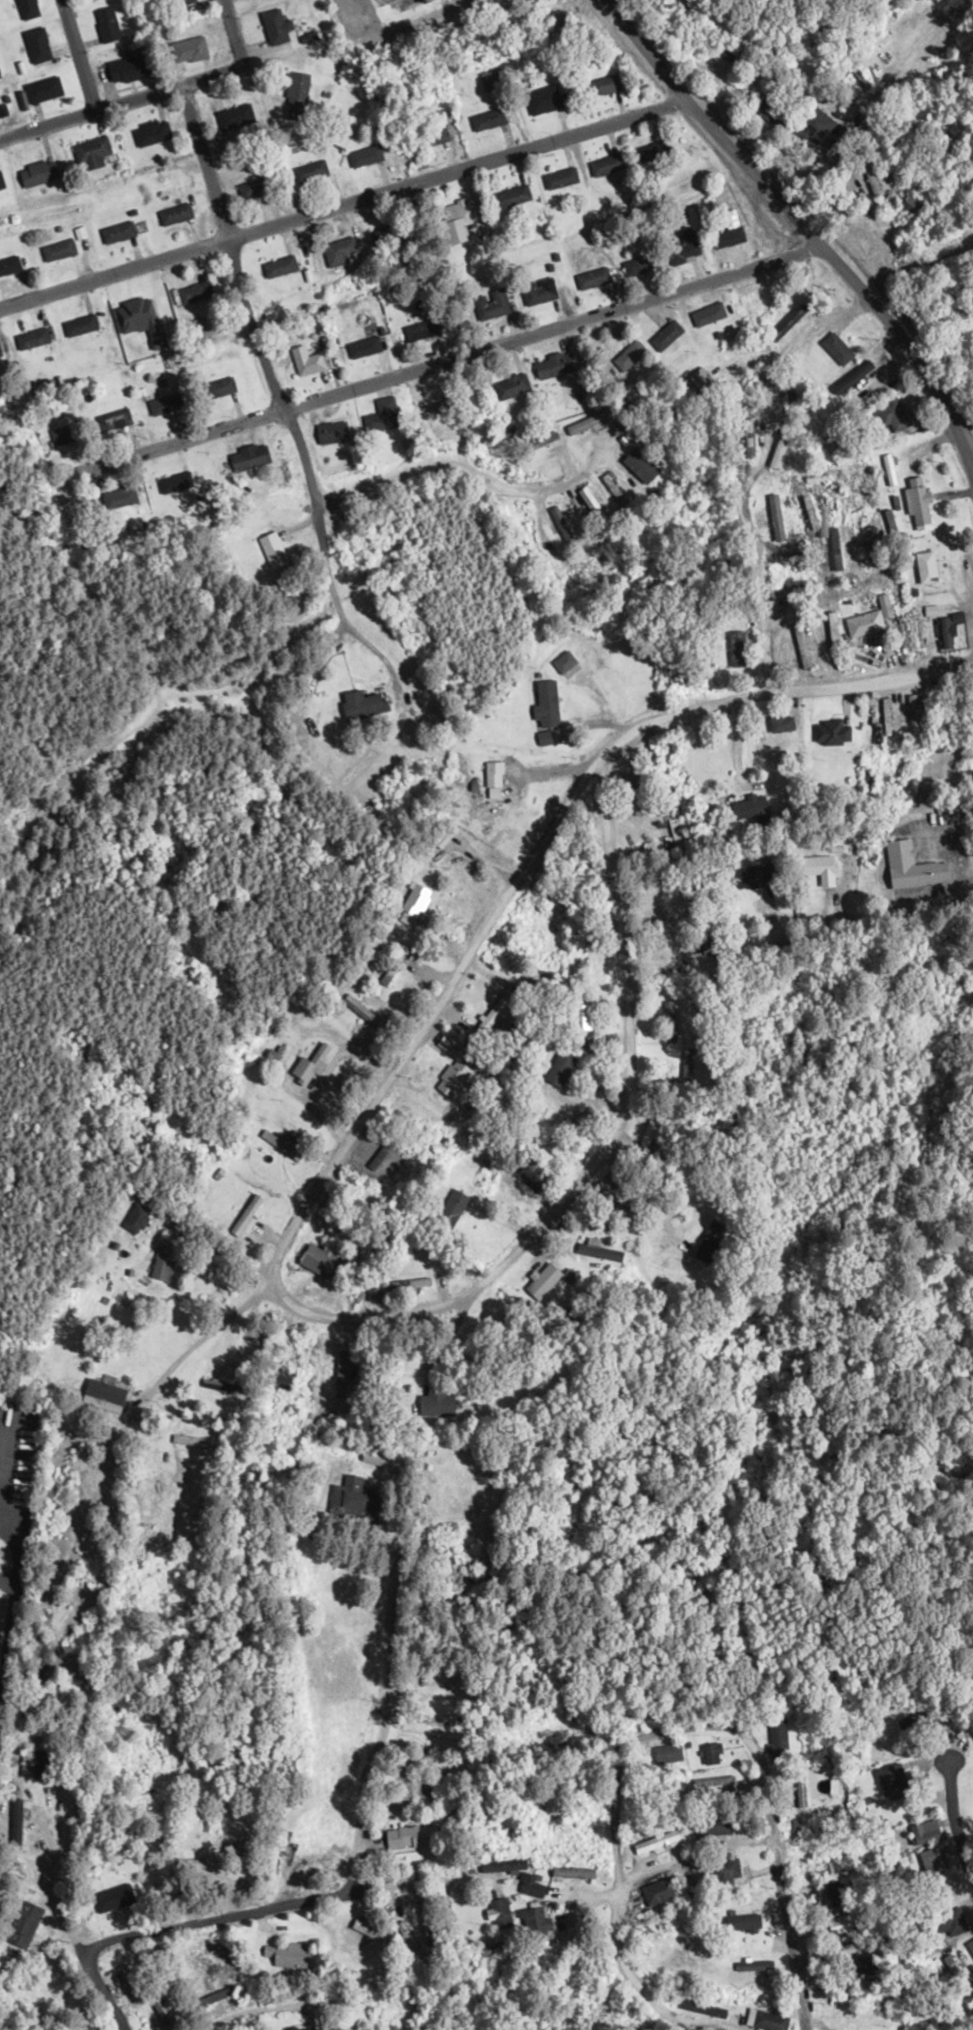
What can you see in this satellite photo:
building: (89, 0)
building: (418, 1)
building: (183, 2)
building: (26, 8)
building: (108, 24)
building: (274, 26)
road: (235, 32)
building: (36, 45)
building: (188, 50)
road: (77, 55)
building: (128, 66)
building: (602, 85)
building: (42, 90)
building: (295, 90)
road: (122, 101)
building: (542, 102)
building: (770, 112)
building: (233, 117)
building: (815, 118)
building: (488, 120)
building: (151, 133)
building: (430, 137)
building: (94, 152)
building: (653, 152)
building: (363, 156)
building: (606, 165)
building: (309, 172)
building: (869, 172)
building: (37, 173)
building: (561, 178)
building: (1, 182)
building: (252, 189)
building: (512, 196)
road: (342, 201)
building: (908, 202)
building: (172, 213)
building: (456, 219)
road: (808, 229)
building: (115, 231)
building: (386, 235)
building: (726, 237)
road: (230, 245)
building: (683, 246)
building: (55, 249)
building: (336, 251)
building: (8, 264)
building: (638, 265)
building: (278, 266)
building: (593, 278)
building: (541, 290)
building: (193, 292)
building: (490, 305)
building: (129, 311)
building: (705, 314)
building: (787, 322)
building: (77, 325)
building: (417, 330)
building: (665, 335)
building: (32, 338)
building: (361, 347)
building: (635, 347)
building: (837, 348)
building: (307, 364)
building: (553, 365)
road: (412, 369)
building: (853, 378)
building: (754, 384)
building: (509, 386)
building: (217, 387)
building: (161, 405)
building: (891, 415)
building: (111, 420)
building: (378, 421)
building: (450, 421)
building: (586, 423)
building: (330, 432)
building: (537, 442)
road: (970, 451)
building: (247, 457)
building: (776, 459)
building: (891, 469)
building: (172, 483)
building: (610, 489)
building: (115, 498)
building: (919, 502)
building: (595, 504)
building: (778, 522)
building: (560, 524)
building: (836, 548)
building: (270, 549)
building: (925, 567)
building: (886, 604)
building: (865, 624)
building: (948, 630)
road: (833, 643)
building: (735, 648)
building: (800, 649)
building: (563, 661)
building: (360, 692)
road: (780, 693)
building: (545, 703)
building: (778, 723)
building: (829, 731)
building: (490, 778)
building: (633, 798)
building: (744, 806)
building: (680, 835)
building: (911, 866)
building: (814, 868)
building: (747, 877)
building: (412, 904)
road: (896, 946)
building: (384, 978)
building: (359, 1010)
building: (577, 1018)
building: (308, 1064)
building: (450, 1078)
building: (644, 1135)
building: (276, 1141)
building: (403, 1163)
building: (450, 1209)
building: (246, 1215)
building: (133, 1217)
building: (319, 1262)
building: (675, 1266)
building: (160, 1269)
building: (545, 1278)
road: (352, 1319)
road: (207, 1342)
road: (428, 1377)
building: (281, 1378)
building: (105, 1392)
building: (350, 1499)
building: (434, 1678)
road: (664, 1730)
building: (779, 1736)
building: (553, 1740)
building: (670, 1753)
building: (715, 1754)
building: (23, 1770)
building: (891, 1779)
road: (950, 1813)
building: (14, 1821)
building: (924, 1832)
building: (824, 1835)
building: (407, 1837)
building: (657, 1840)
building: (186, 1863)
building: (501, 1865)
building: (841, 1867)
building: (722, 1871)
building: (685, 1882)
building: (528, 1886)
building: (651, 1893)
building: (111, 1898)
road: (266, 1913)
building: (498, 1913)
building: (949, 1921)
building: (741, 1922)
building: (20, 1923)
building: (532, 1924)
building: (840, 1925)
building: (366, 1931)
road: (75, 1939)
building: (970, 1946)
building: (483, 1949)
building: (284, 1955)
building: (756, 1965)
building: (867, 1969)
building: (127, 1981)
building: (704, 2008)
road: (255, 2013)
building: (769, 2020)
building: (84, 2026)
building: (295, 2027)

